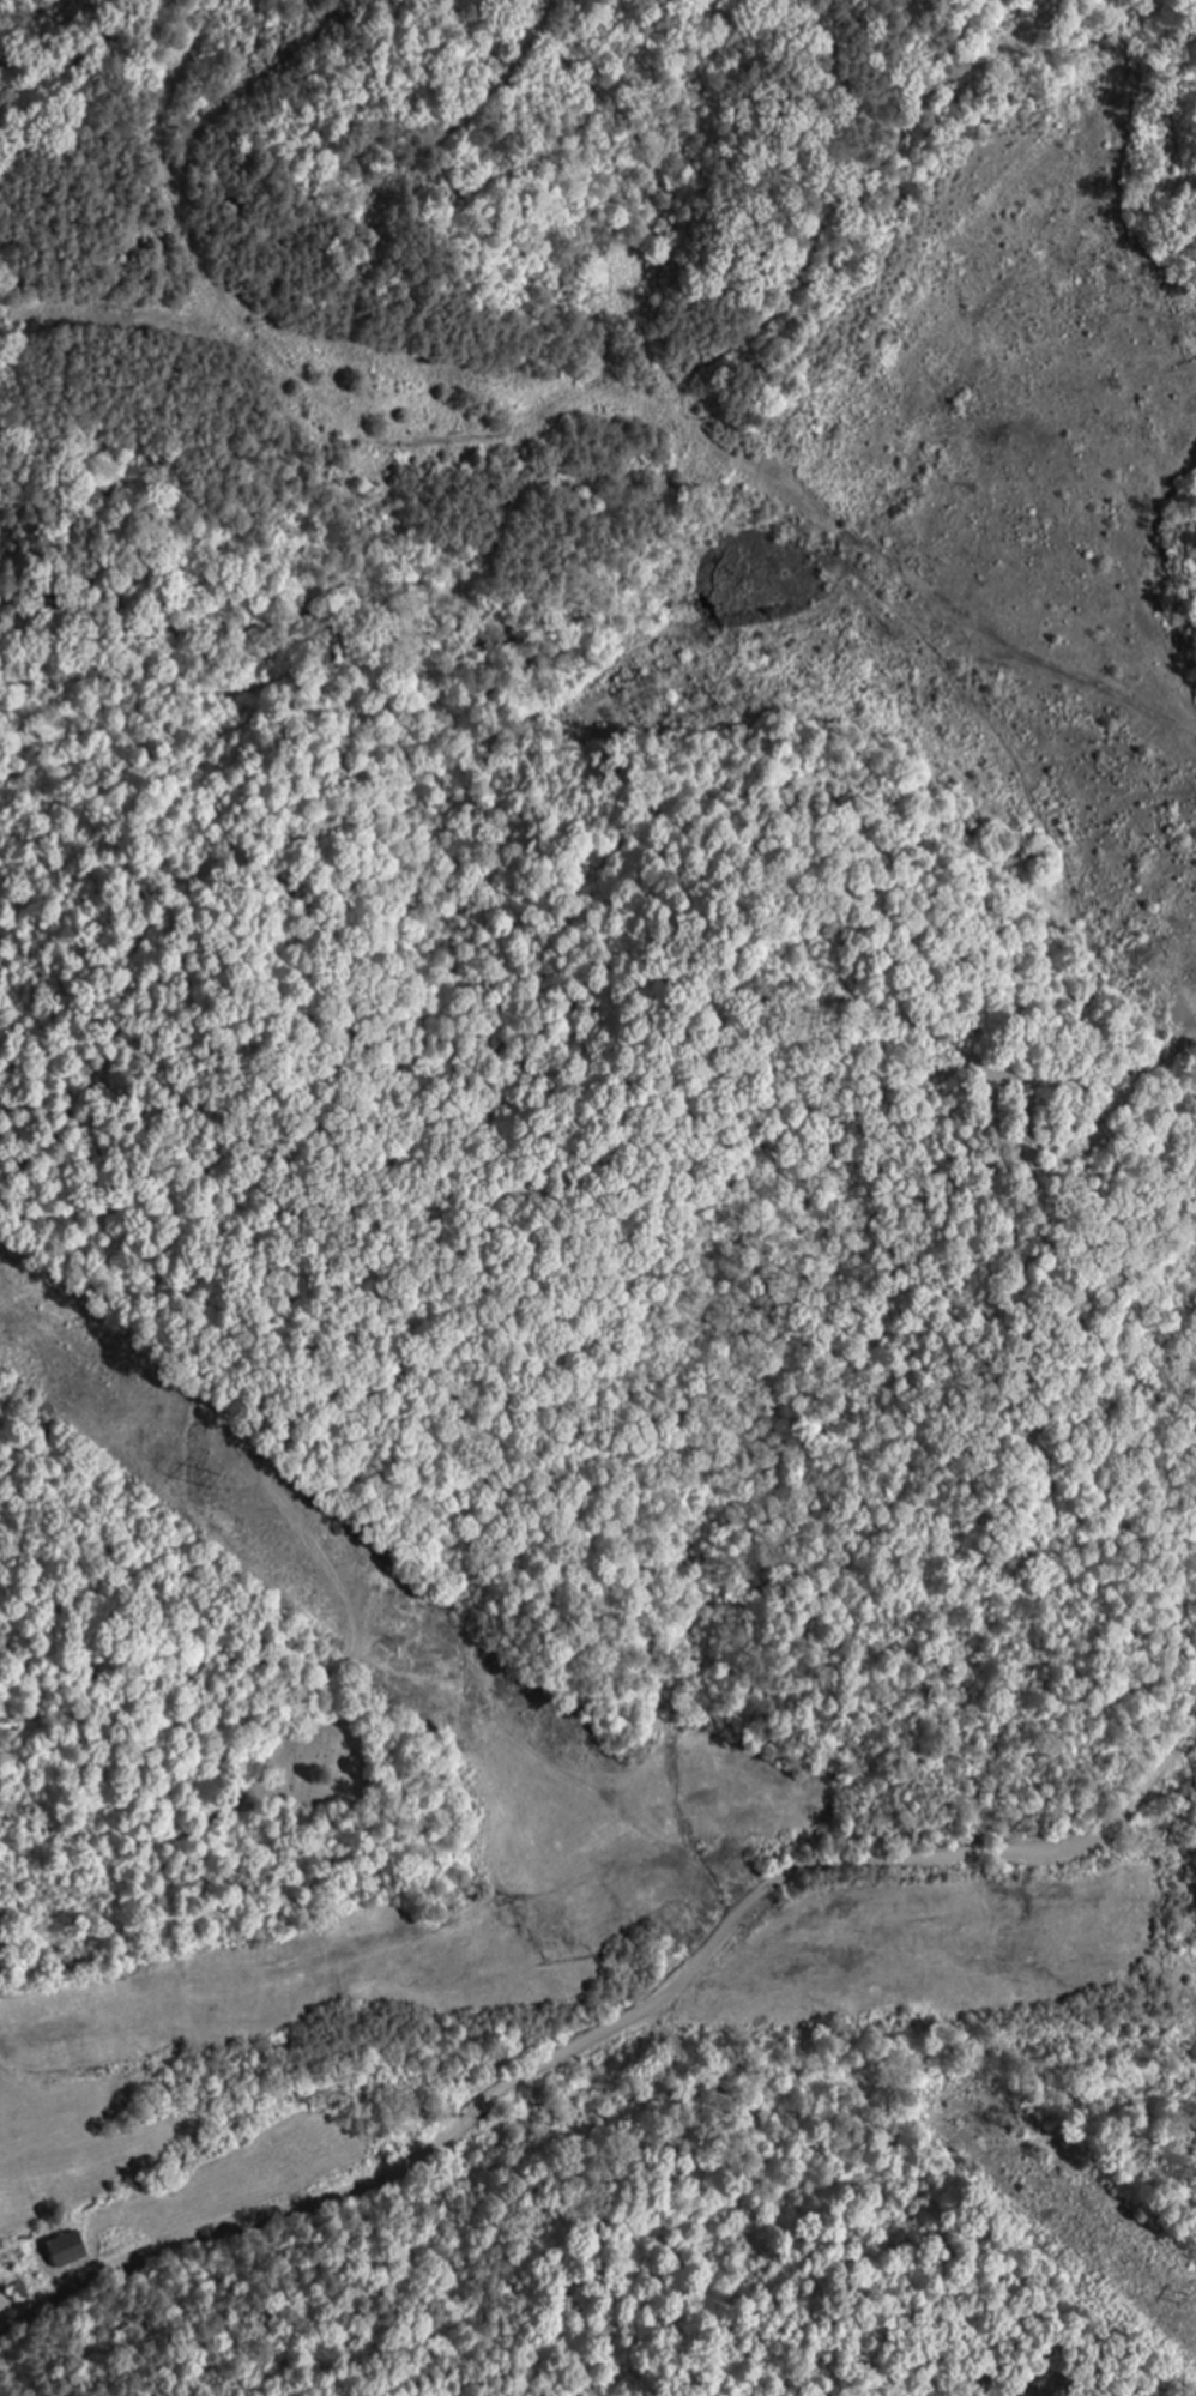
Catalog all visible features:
road: (1176, 1756)
road: (588, 2042)
building: (67, 2250)

